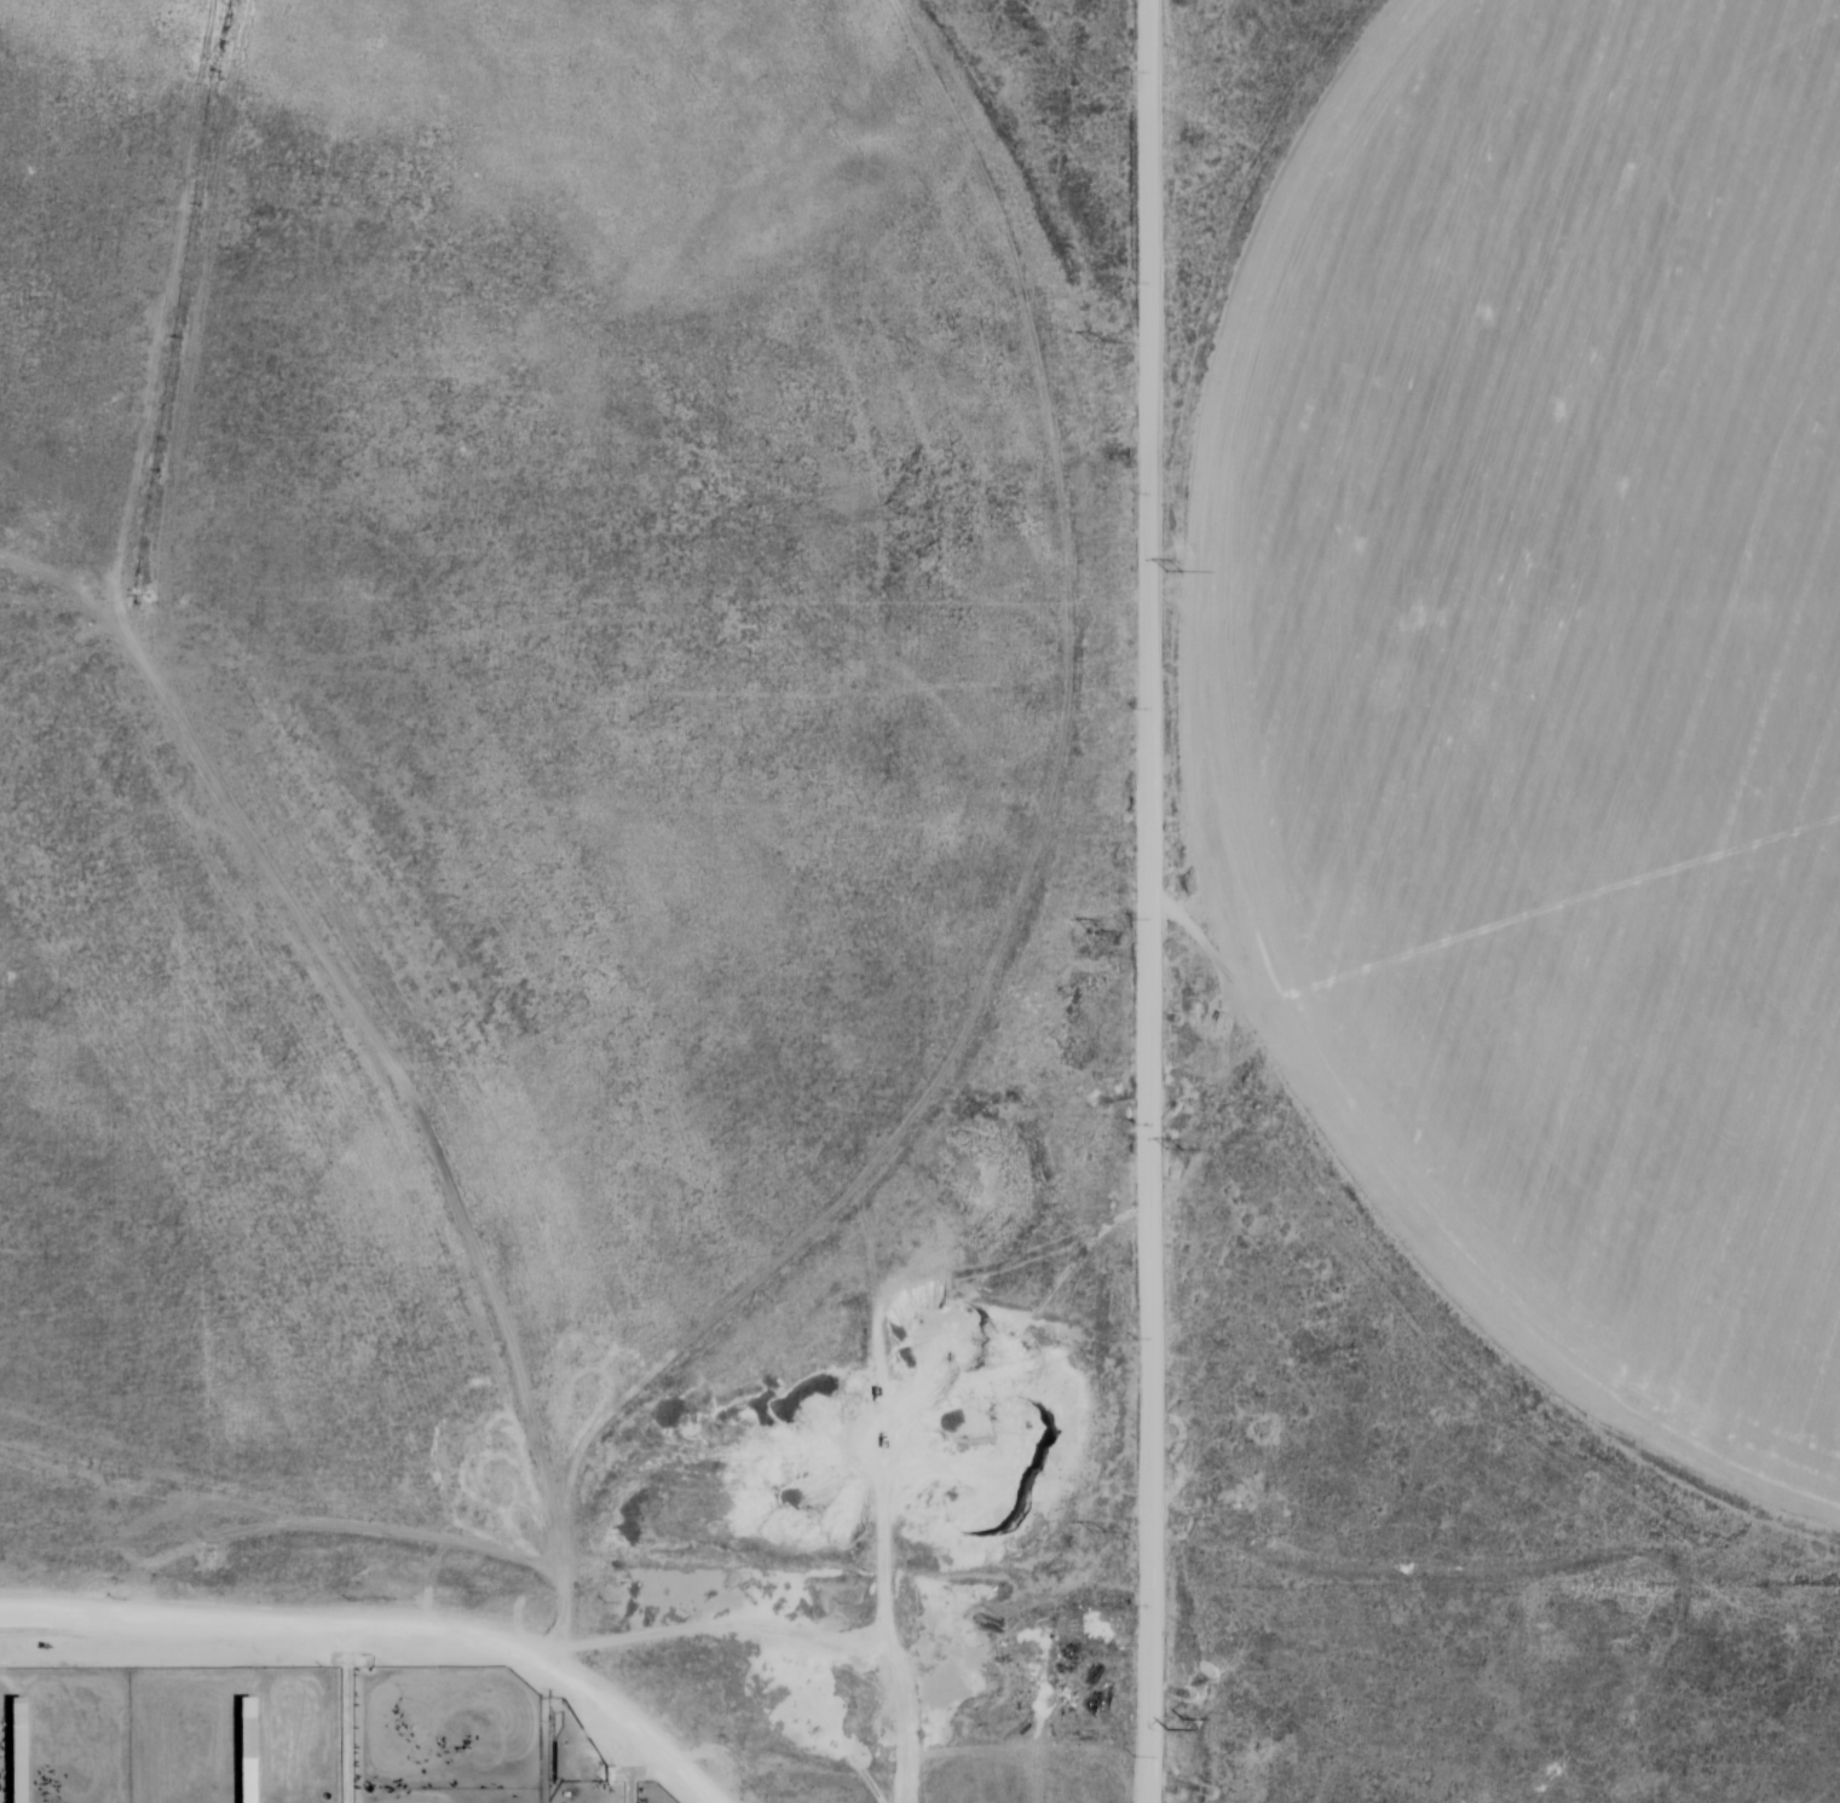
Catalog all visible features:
power tower: (1098, 339)
power tower: (1175, 568)
road: (1155, 901)
power tower: (1097, 929)
power tower: (1178, 1146)
power tower: (1097, 1530)
road: (386, 1628)
power tower: (1182, 1724)

